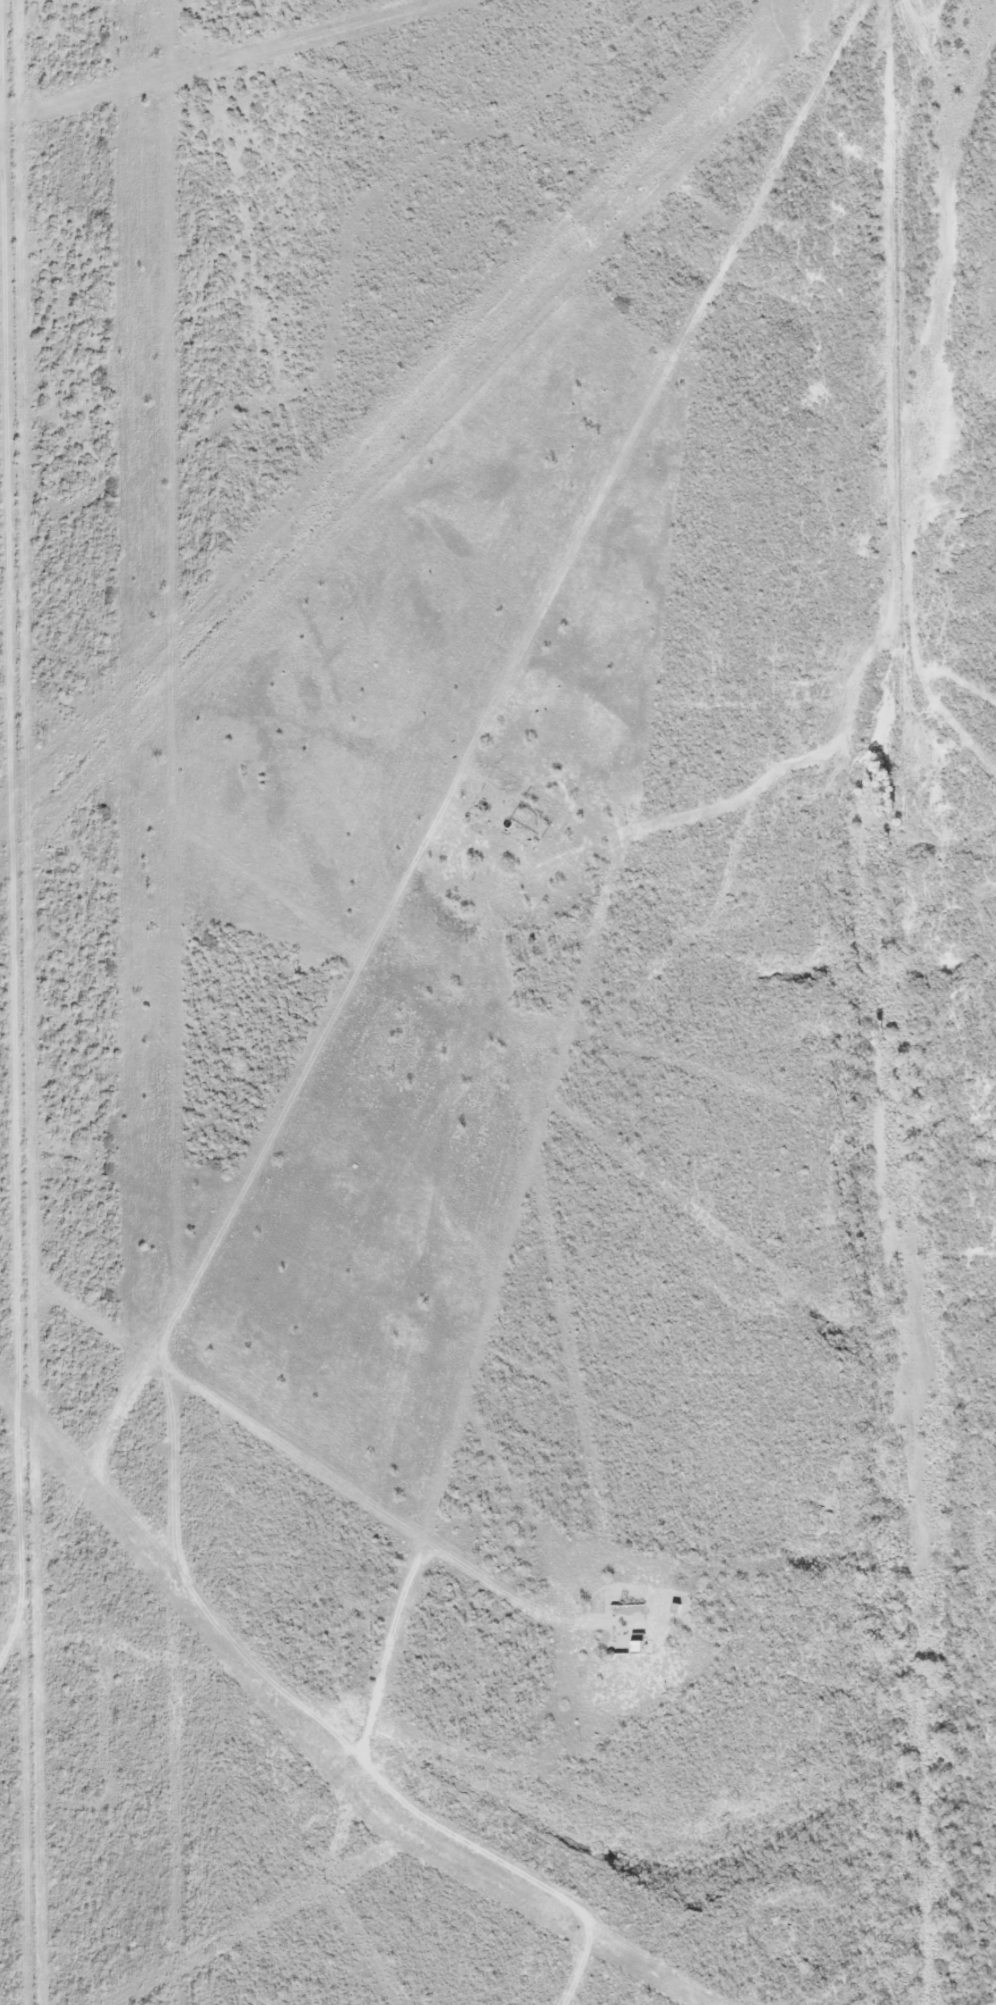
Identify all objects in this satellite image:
road: (136, 1469)
road: (370, 1489)
building: (639, 1643)

